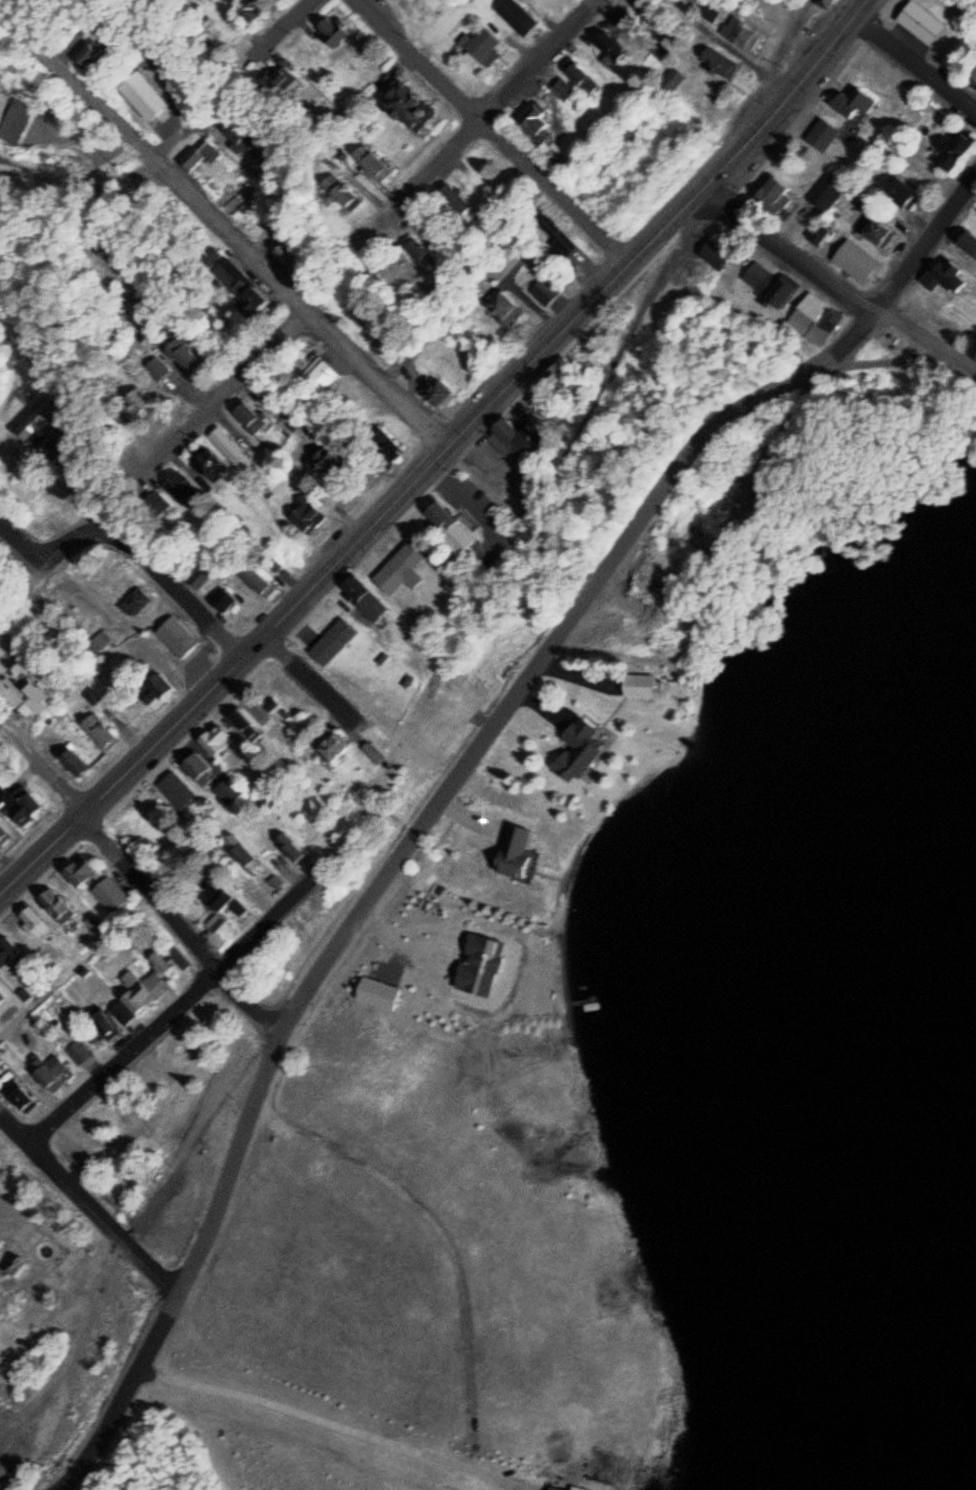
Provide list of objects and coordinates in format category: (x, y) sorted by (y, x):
building: (825, 2)
building: (247, 11)
building: (710, 11)
building: (519, 15)
building: (921, 21)
road: (285, 23)
building: (333, 32)
building: (741, 33)
building: (482, 43)
building: (613, 48)
road: (915, 59)
building: (718, 63)
building: (581, 78)
building: (974, 78)
building: (278, 79)
building: (671, 80)
building: (563, 88)
building: (138, 98)
building: (851, 103)
building: (410, 104)
building: (537, 119)
road: (499, 130)
building: (824, 134)
building: (240, 139)
building: (958, 148)
road: (449, 151)
building: (198, 154)
building: (372, 162)
building: (341, 191)
building: (829, 191)
building: (900, 191)
building: (776, 196)
building: (456, 199)
road: (227, 223)
building: (880, 230)
building: (824, 231)
building: (558, 235)
road: (925, 237)
building: (969, 241)
building: (417, 248)
building: (716, 255)
building: (860, 261)
building: (949, 276)
road: (836, 279)
building: (771, 280)
building: (237, 285)
building: (546, 290)
building: (504, 306)
building: (819, 318)
road: (559, 332)
building: (184, 352)
building: (152, 373)
building: (312, 373)
building: (564, 379)
building: (435, 391)
building: (144, 402)
road: (210, 408)
building: (250, 414)
building: (37, 423)
building: (525, 433)
building: (238, 447)
building: (218, 461)
building: (338, 461)
road: (492, 474)
building: (188, 488)
building: (445, 514)
building: (305, 515)
road: (56, 545)
building: (407, 561)
building: (204, 572)
building: (259, 579)
road: (175, 586)
building: (368, 595)
building: (217, 598)
building: (131, 600)
building: (172, 636)
building: (92, 638)
building: (334, 639)
building: (632, 685)
building: (157, 687)
building: (88, 695)
building: (32, 700)
building: (243, 721)
building: (275, 726)
building: (99, 731)
building: (213, 742)
building: (328, 749)
building: (569, 751)
building: (73, 764)
building: (200, 766)
road: (121, 773)
building: (229, 789)
building: (178, 790)
building: (16, 800)
building: (4, 830)
road: (111, 840)
road: (396, 848)
building: (238, 851)
building: (288, 851)
building: (509, 855)
road: (48, 868)
building: (83, 870)
building: (109, 895)
building: (219, 903)
building: (58, 906)
building: (34, 919)
building: (211, 921)
building: (10, 952)
building: (137, 988)
building: (372, 996)
building: (1, 998)
road: (187, 1000)
building: (73, 1051)
building: (47, 1071)
building: (18, 1094)
road: (7, 1114)
road: (321, 1423)
building: (548, 1487)

